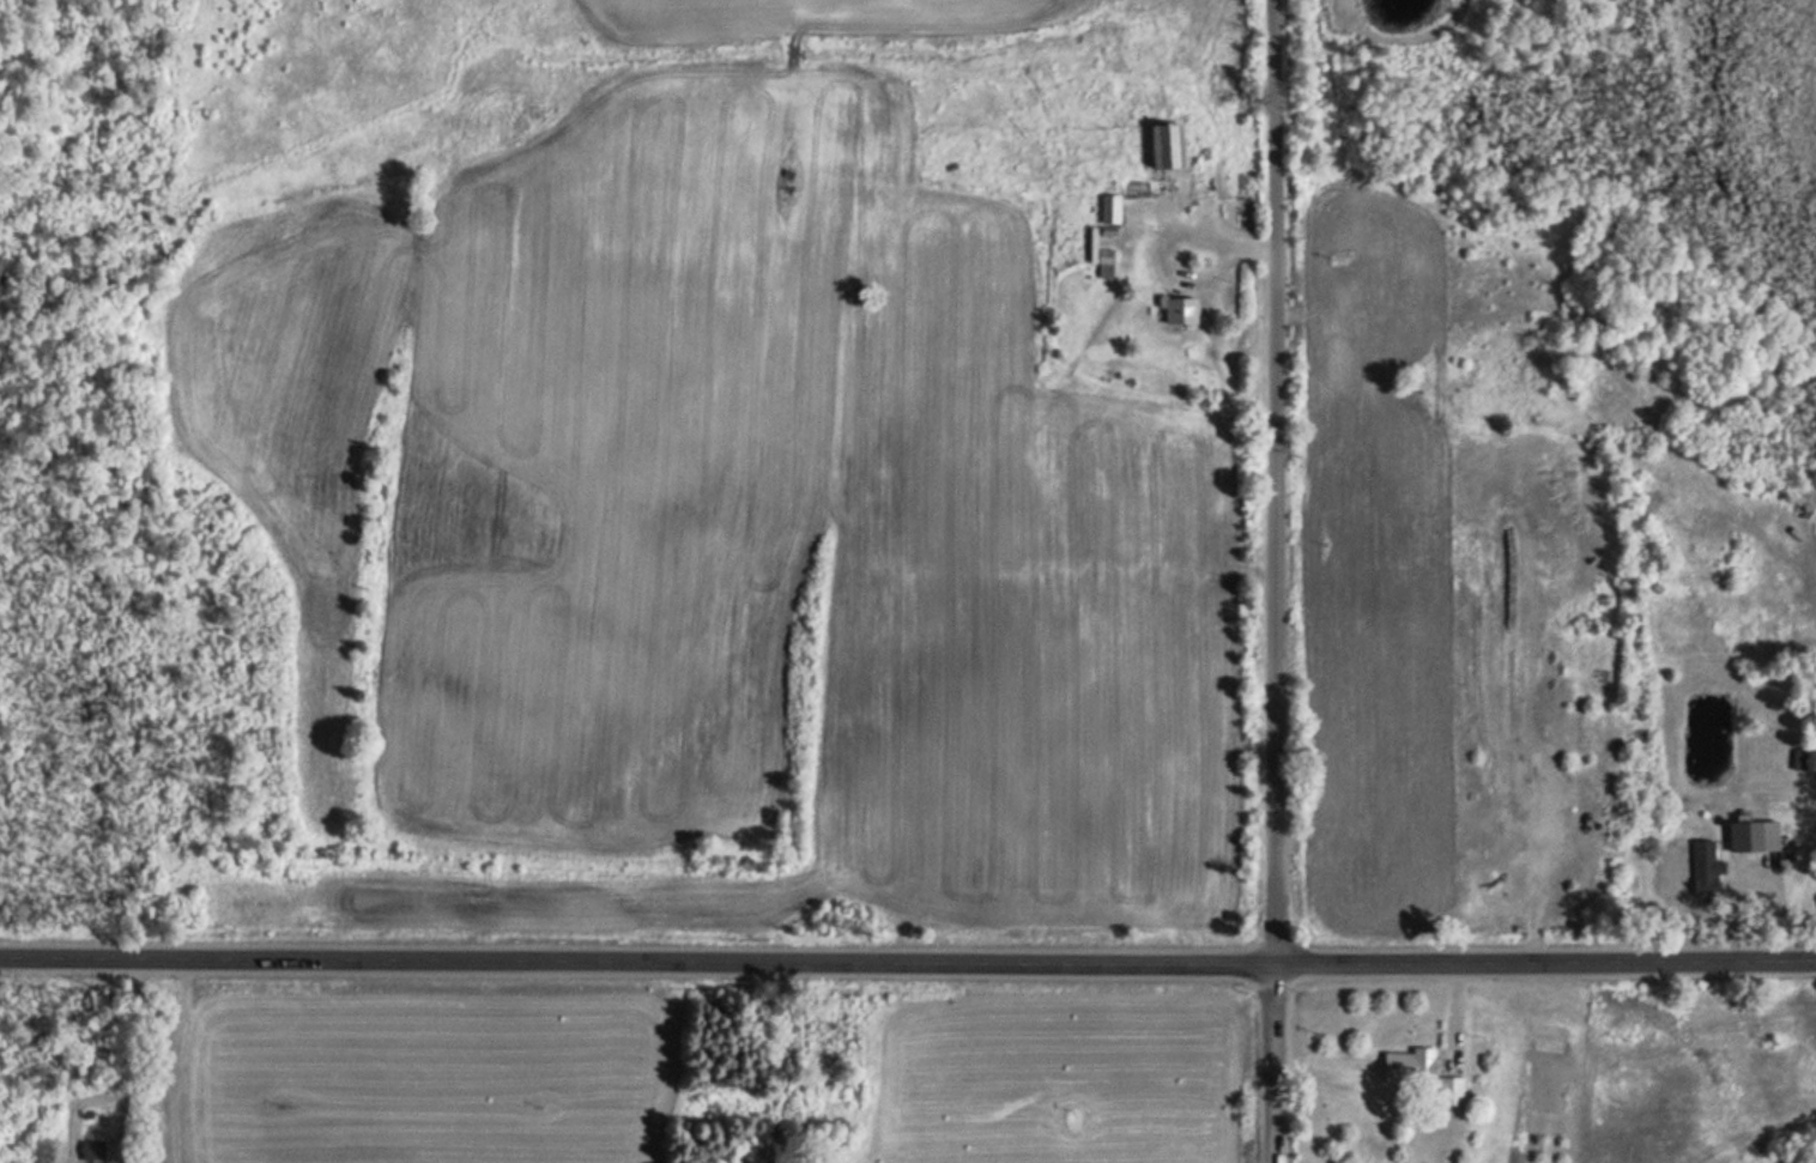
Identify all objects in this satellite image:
building: (1167, 145)
building: (785, 177)
building: (1109, 207)
building: (1178, 309)
road: (1275, 581)
building: (1754, 830)
building: (1703, 871)
road: (908, 959)
building: (1419, 1073)
building: (91, 1149)

